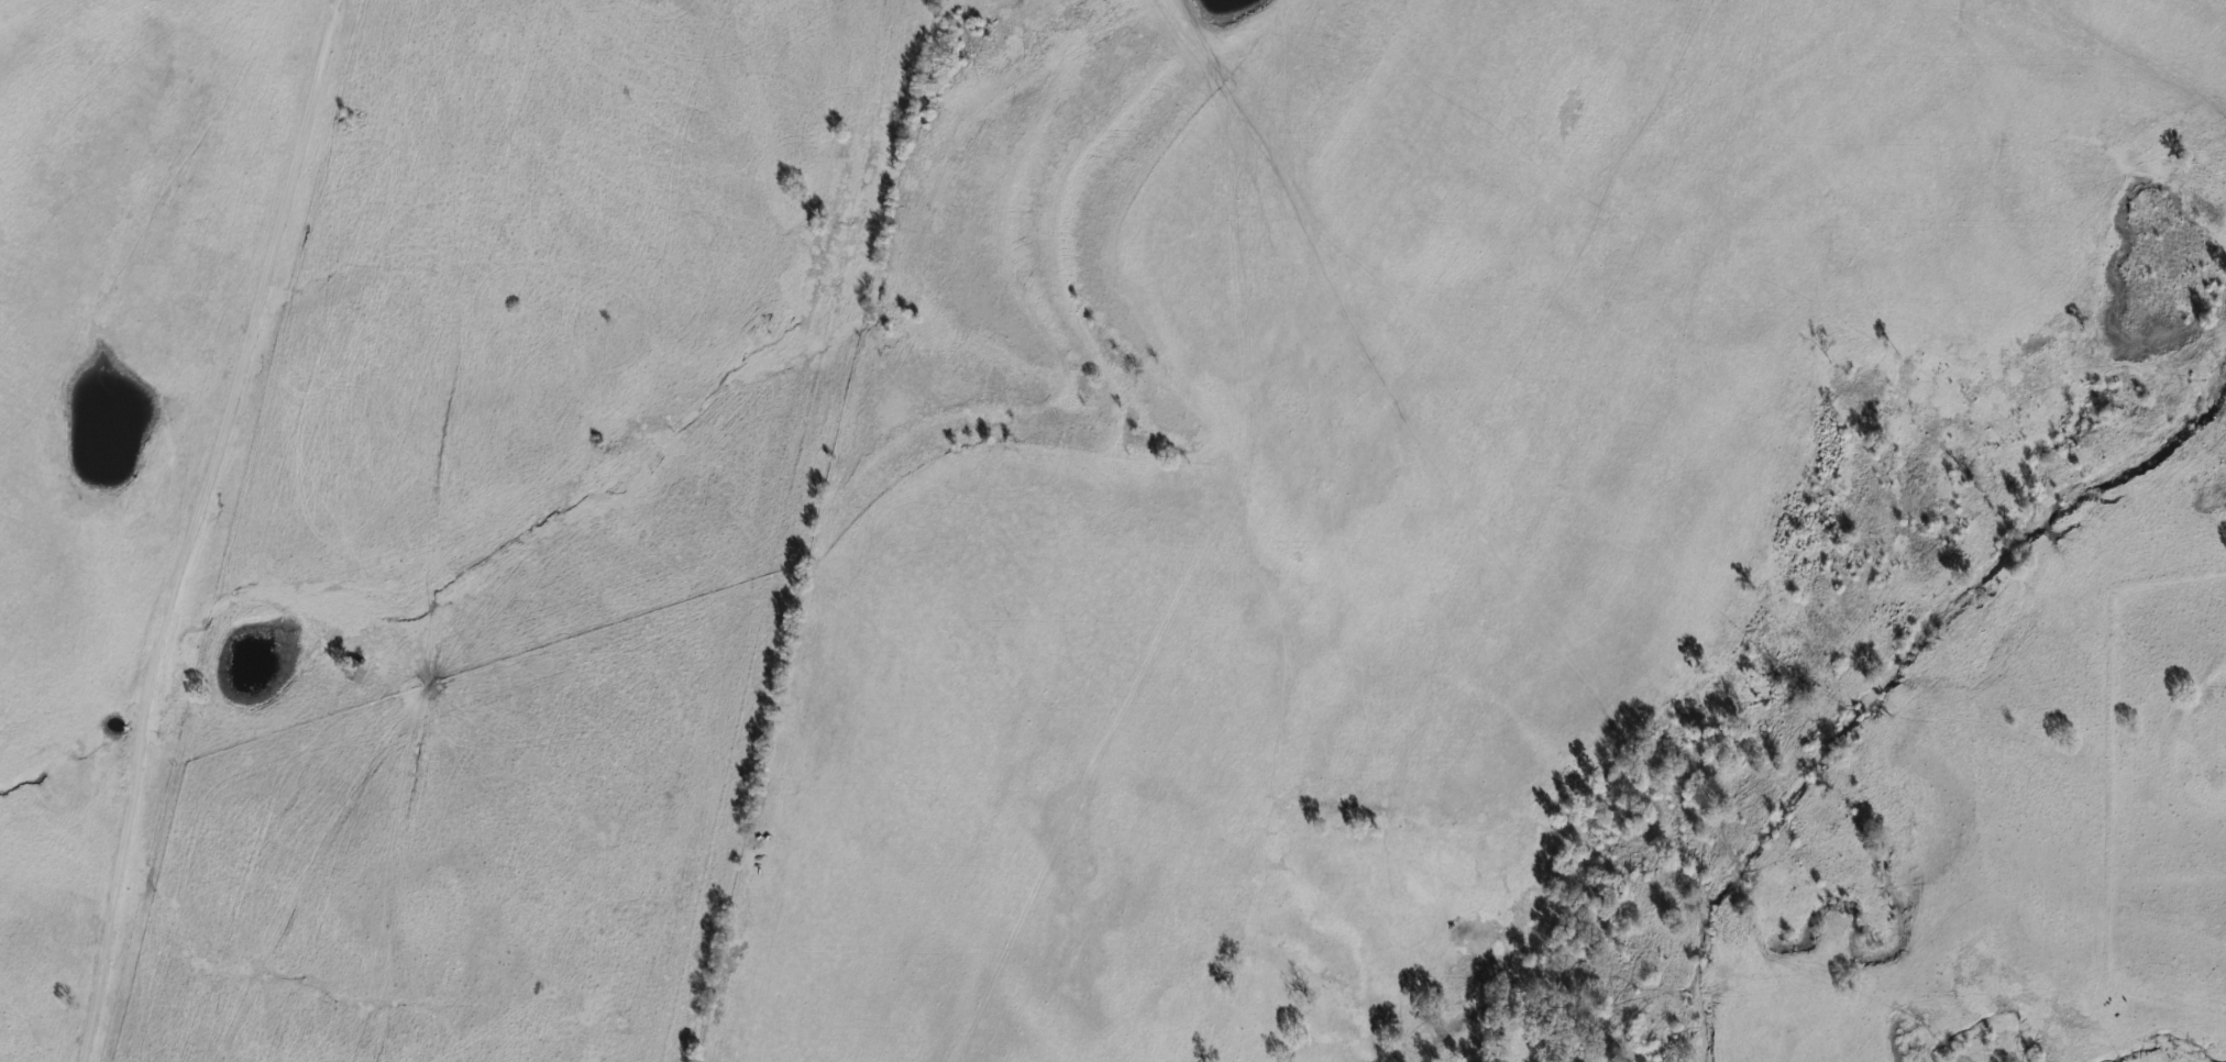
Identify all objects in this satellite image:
building: (357, 671)

